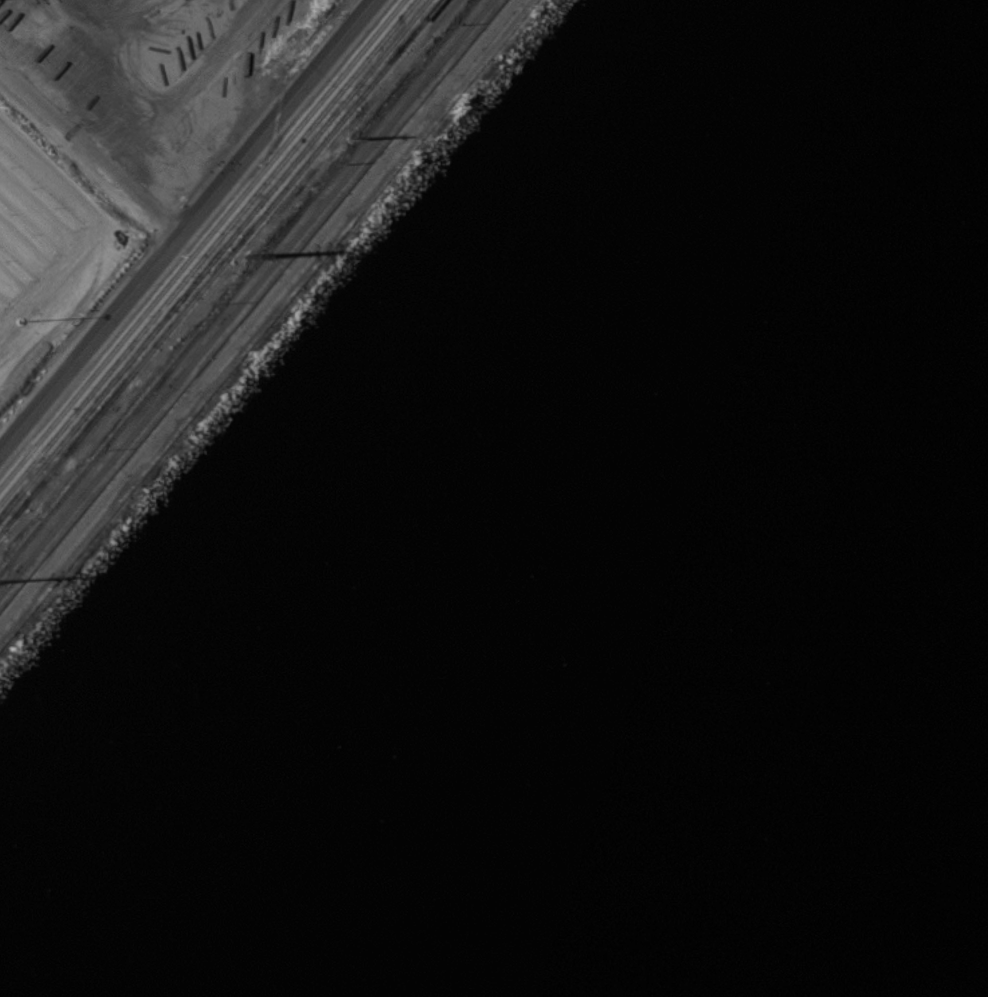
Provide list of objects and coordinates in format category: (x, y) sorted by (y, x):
road: (198, 212)
railway: (200, 242)
railway: (207, 249)
railway: (212, 255)
railway: (219, 264)
road: (255, 310)
road: (91, 351)

